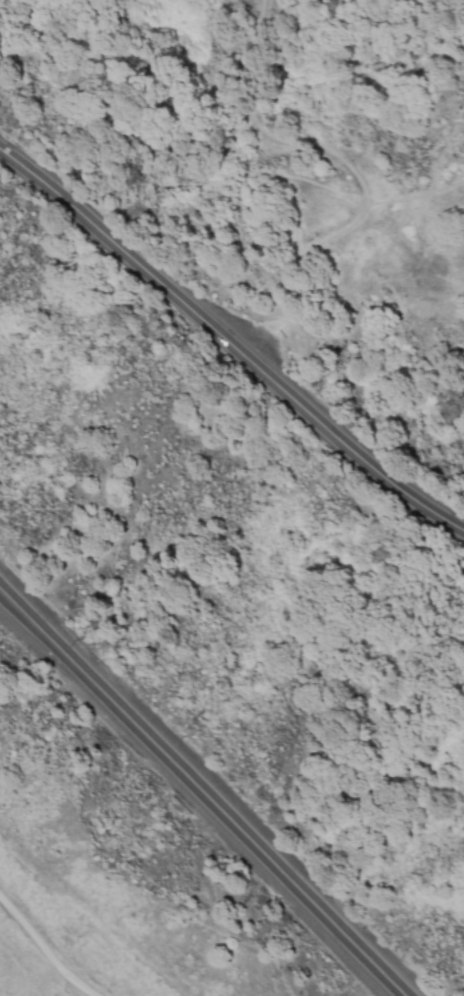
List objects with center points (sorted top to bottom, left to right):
road: (46, 6)
park: (265, 7)
road: (209, 141)
road: (359, 171)
road: (418, 201)
park: (404, 229)
road: (228, 343)
parking lot: (258, 345)
road: (202, 792)
road: (45, 946)

